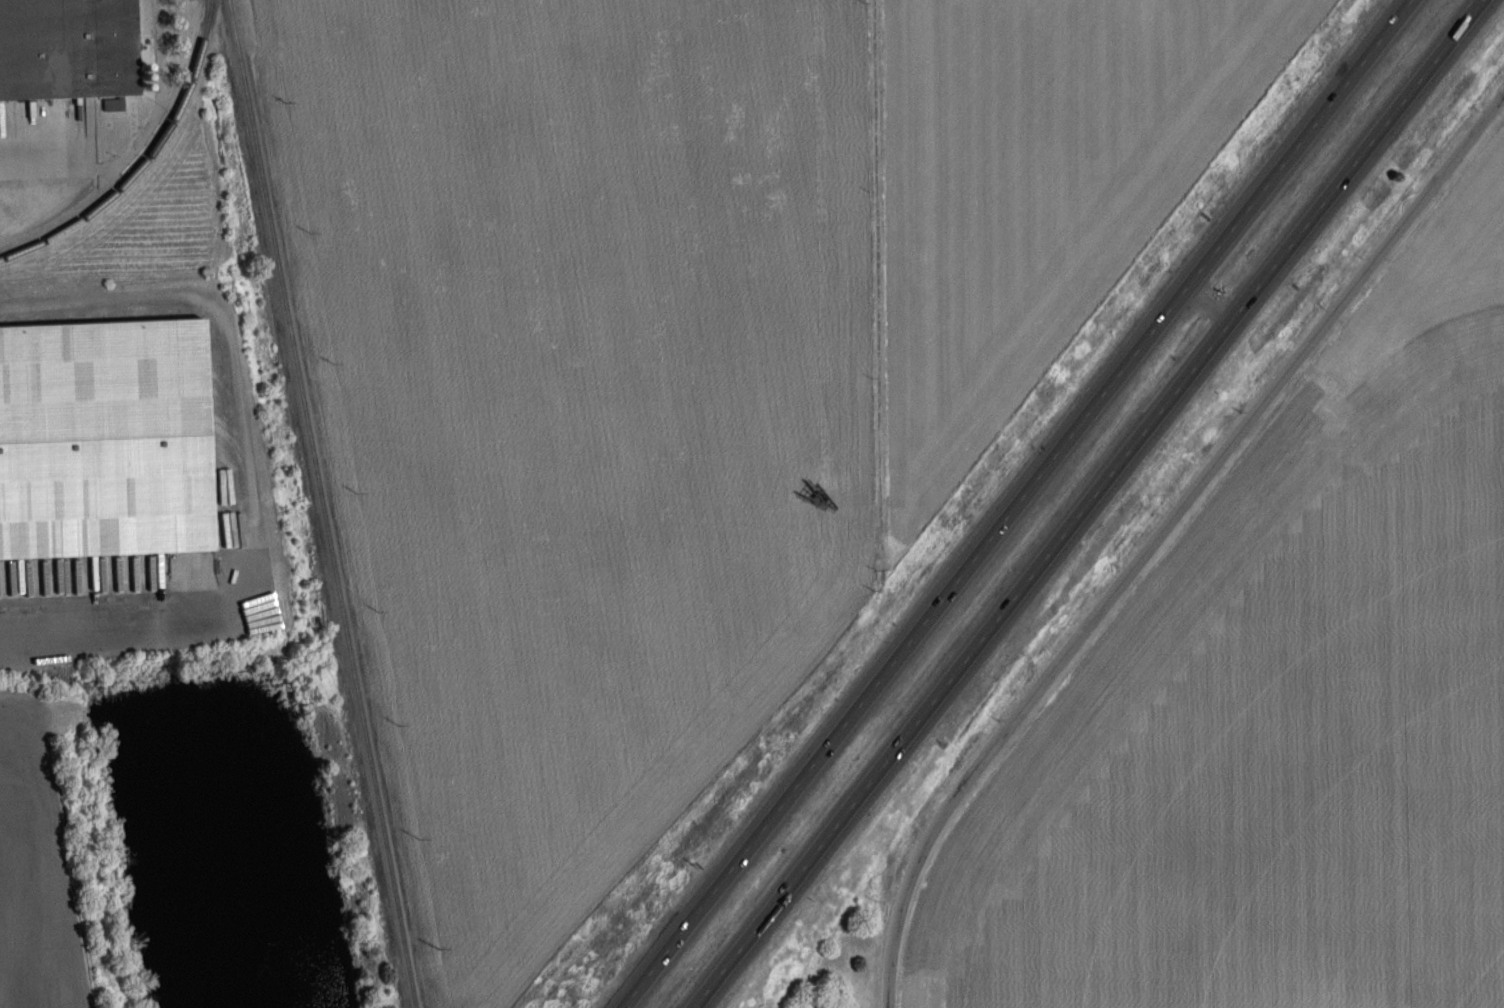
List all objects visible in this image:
building: (66, 46)
railway: (146, 163)
road: (880, 285)
road: (1208, 303)
building: (103, 438)
road: (247, 458)
railway: (321, 504)
road: (1015, 504)
road: (1086, 504)
road: (1160, 535)

